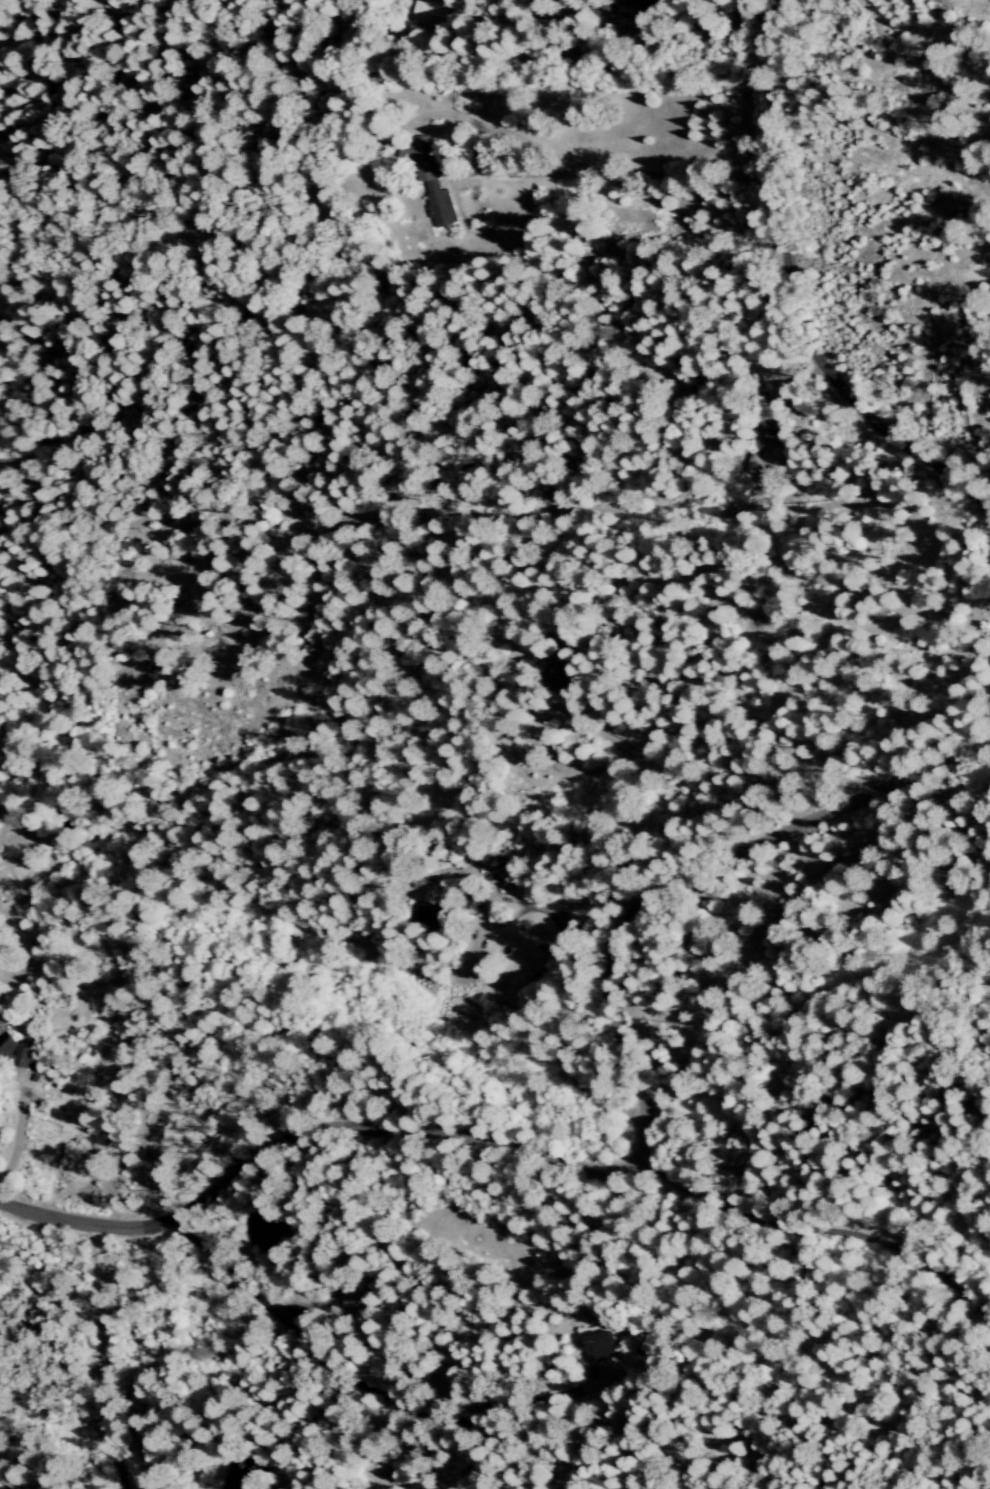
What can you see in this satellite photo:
building: (429, 13)
building: (643, 13)
building: (420, 156)
building: (440, 207)
road: (795, 293)
building: (769, 464)
building: (437, 914)
building: (18, 1052)
road: (625, 1167)
road: (818, 1228)
building: (353, 1299)
building: (601, 1346)
road: (97, 1358)
road: (361, 1391)

